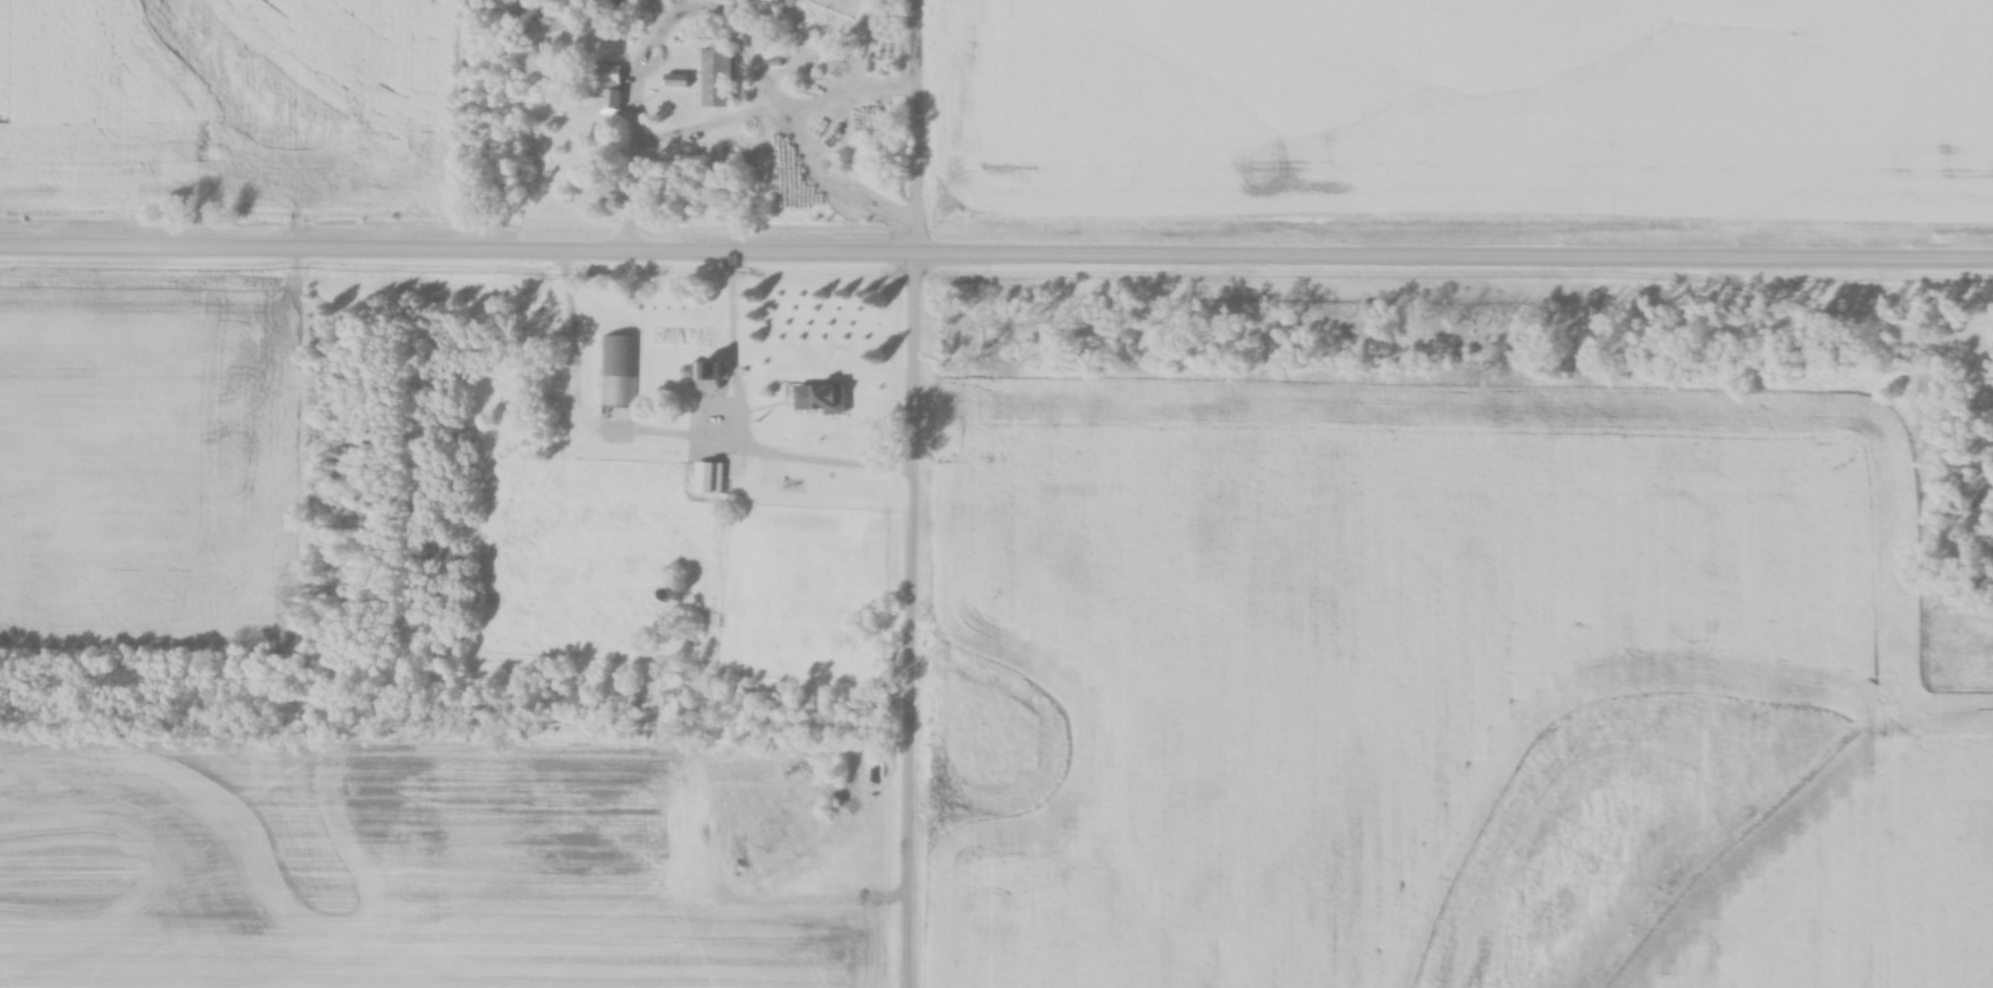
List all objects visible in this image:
building: (718, 78)
building: (676, 82)
building: (608, 90)
road: (996, 251)
building: (619, 372)
building: (709, 377)
building: (820, 398)
crop: (146, 477)
building: (703, 477)
road: (911, 493)

